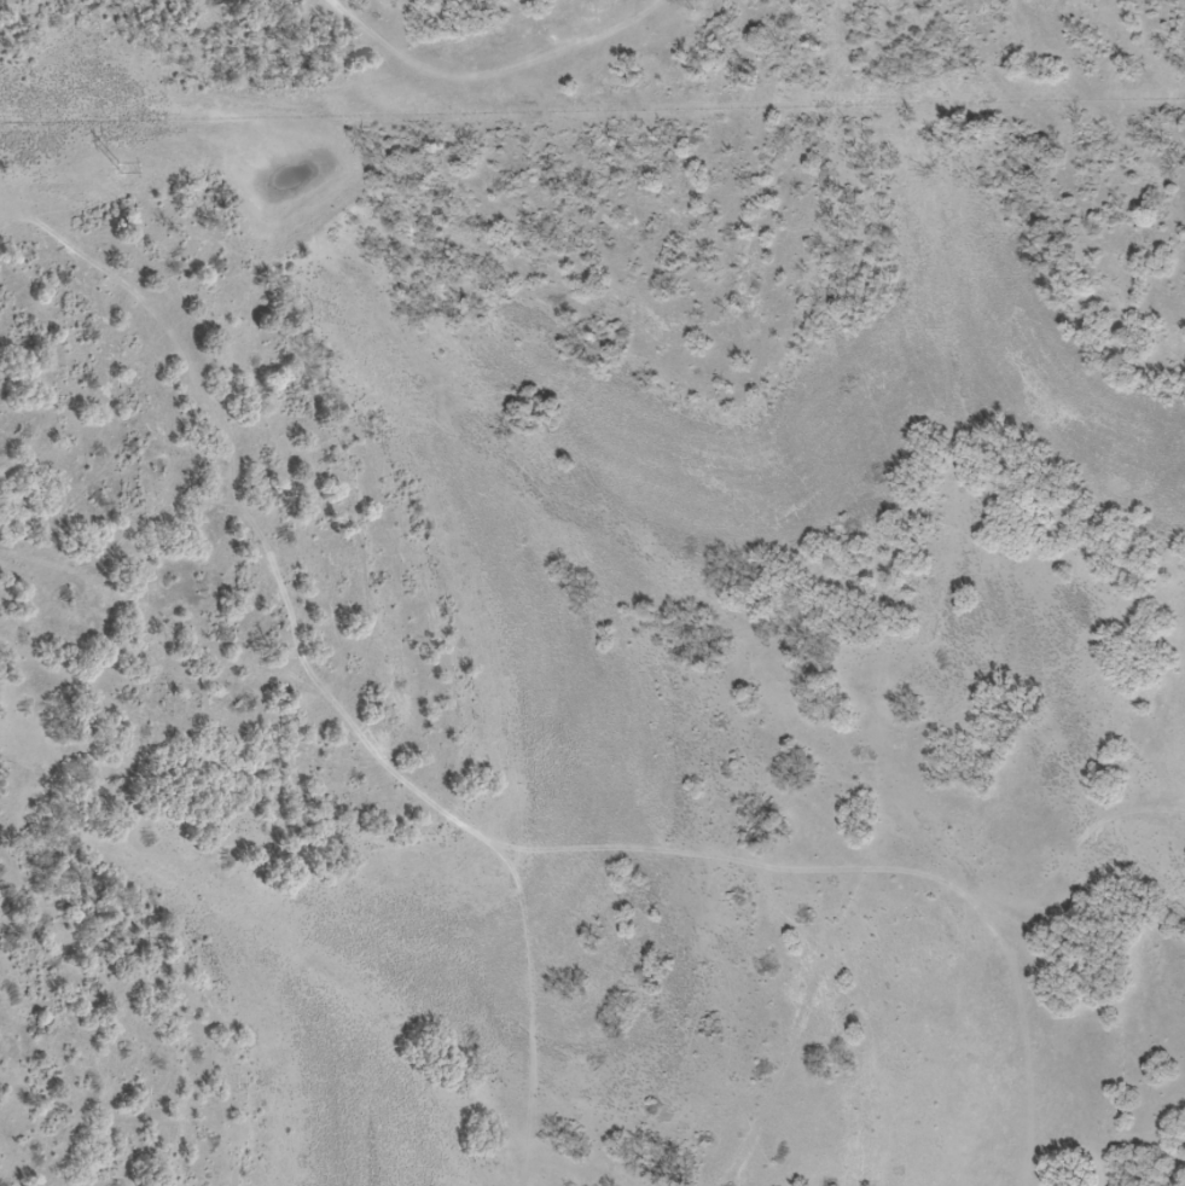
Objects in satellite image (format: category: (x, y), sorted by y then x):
power tower: (696, 1)
power tower: (121, 170)

